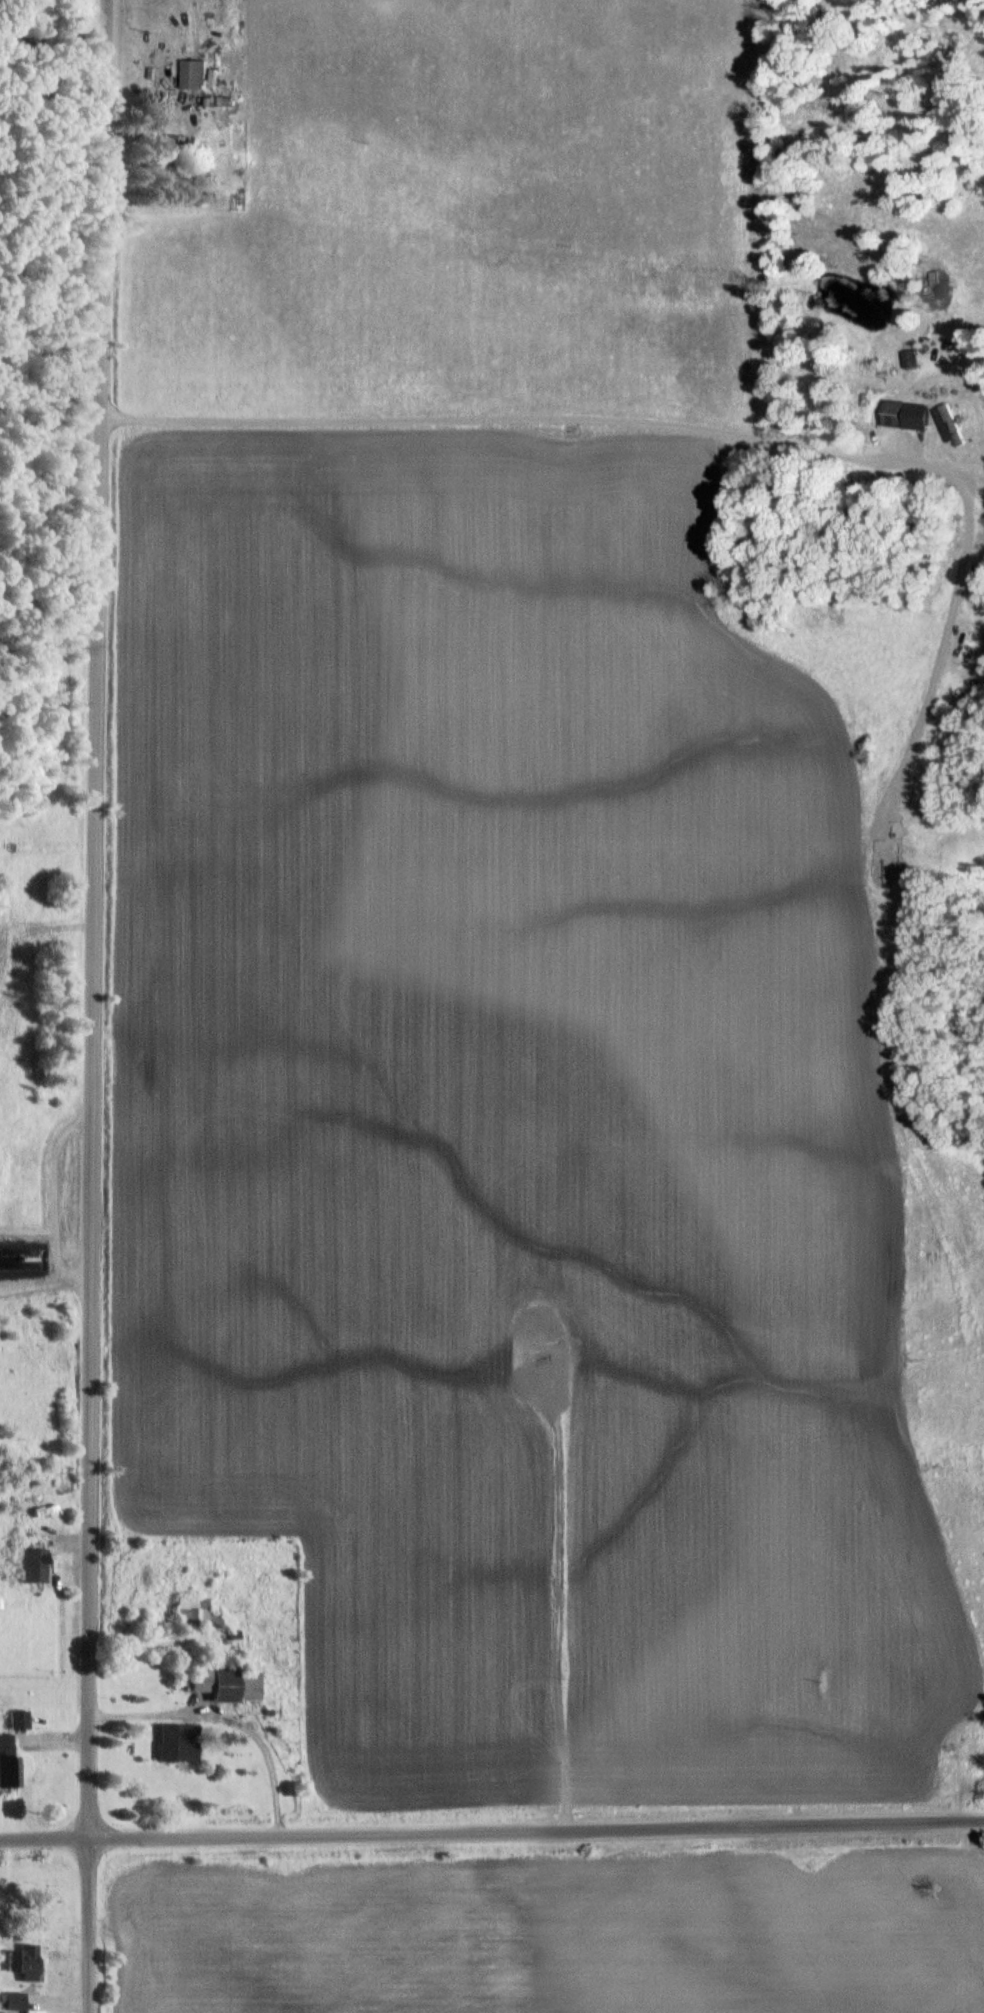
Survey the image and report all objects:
building: (198, 74)
building: (179, 152)
building: (911, 415)
building: (951, 425)
road: (49, 427)
road: (92, 1006)
building: (20, 1254)
road: (46, 1283)
building: (37, 1564)
building: (199, 1612)
building: (227, 1681)
building: (21, 1719)
building: (7, 1742)
building: (182, 1742)
building: (11, 1770)
road: (491, 1827)
building: (28, 1961)
building: (18, 2001)

